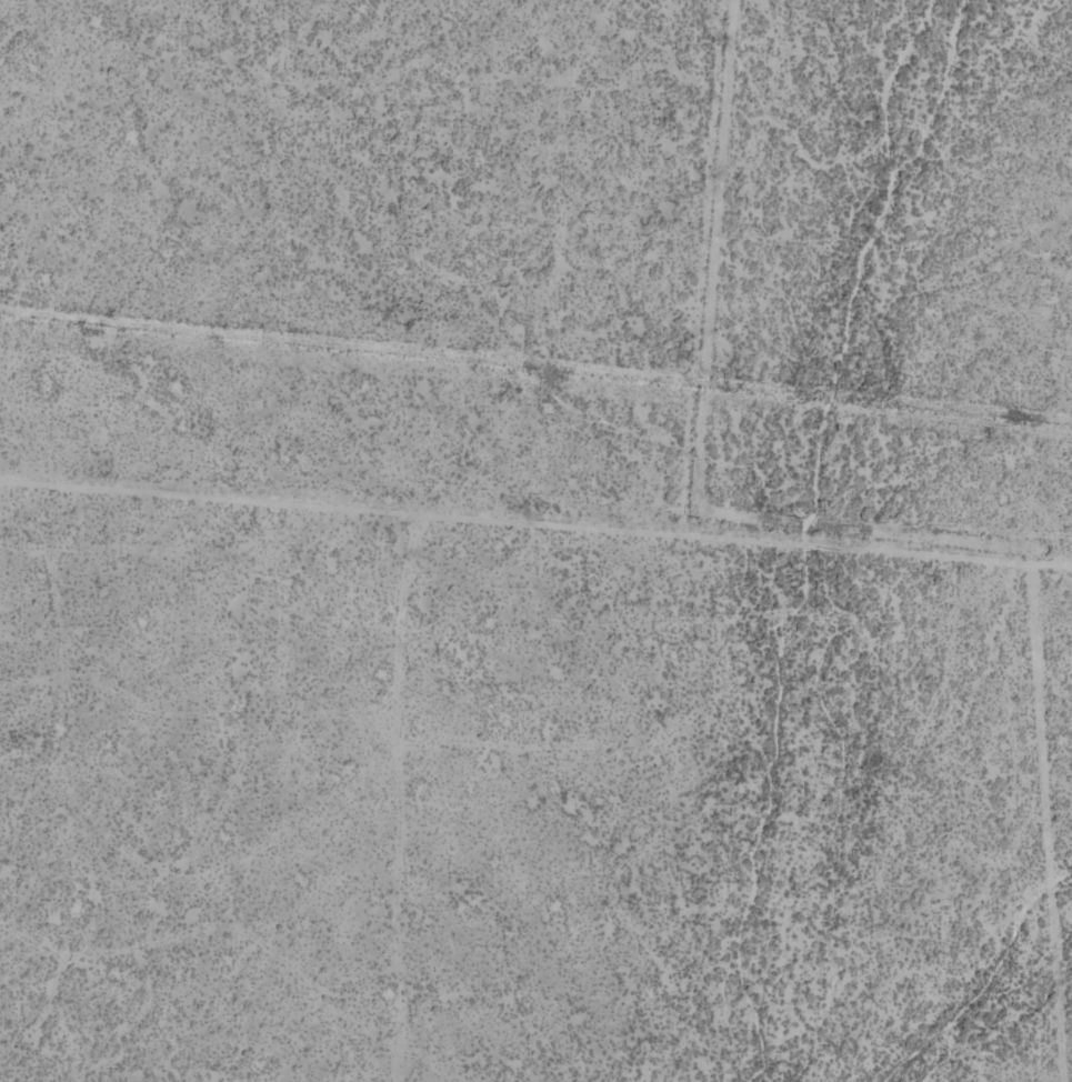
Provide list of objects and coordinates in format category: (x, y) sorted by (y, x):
road: (535, 449)

